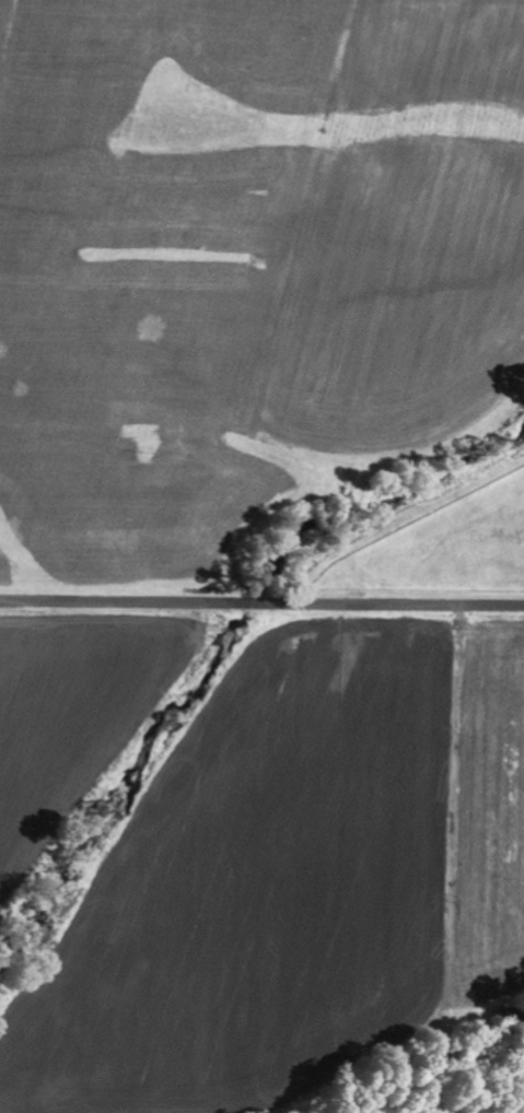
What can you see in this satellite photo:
road: (261, 604)

